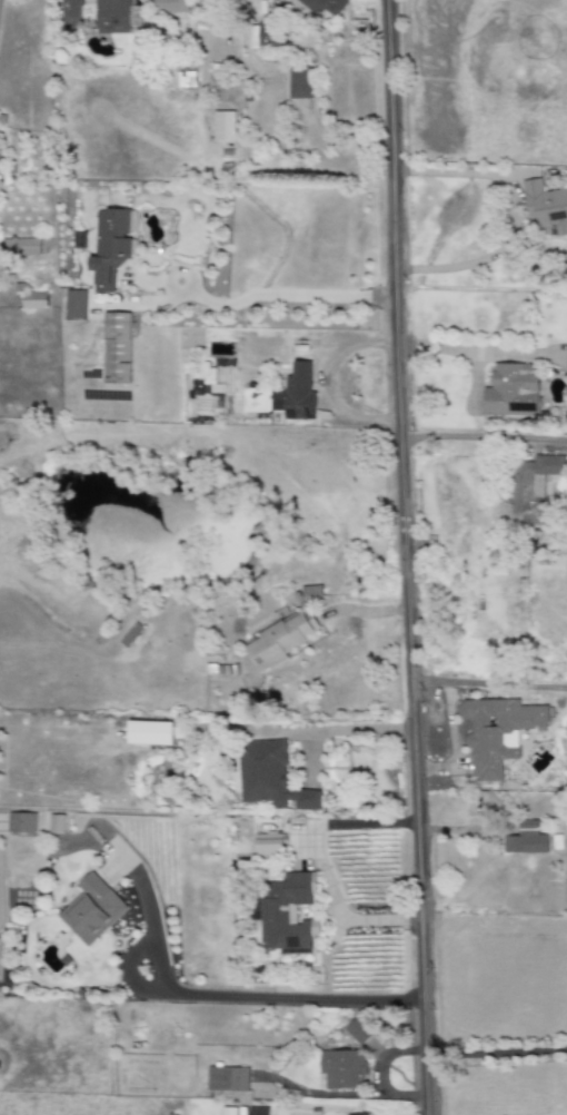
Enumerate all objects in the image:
building: (320, 6)
building: (170, 9)
building: (71, 16)
building: (112, 18)
building: (300, 77)
building: (185, 79)
building: (225, 130)
road: (479, 171)
building: (547, 211)
building: (107, 248)
building: (21, 249)
road: (487, 256)
road: (283, 297)
building: (33, 300)
building: (74, 305)
building: (115, 349)
road: (479, 351)
road: (329, 382)
building: (299, 393)
building: (510, 393)
road: (481, 442)
building: (531, 487)
road: (402, 557)
building: (311, 592)
building: (128, 635)
building: (283, 635)
building: (222, 672)
road: (488, 684)
road: (351, 729)
building: (166, 738)
building: (490, 739)
building: (270, 780)
building: (22, 820)
building: (59, 822)
building: (526, 838)
building: (268, 845)
building: (117, 861)
building: (91, 910)
building: (287, 911)
building: (1, 961)
road: (231, 998)
building: (356, 1030)
road: (496, 1055)
building: (341, 1068)
building: (227, 1078)
road: (346, 1094)
building: (257, 1111)

